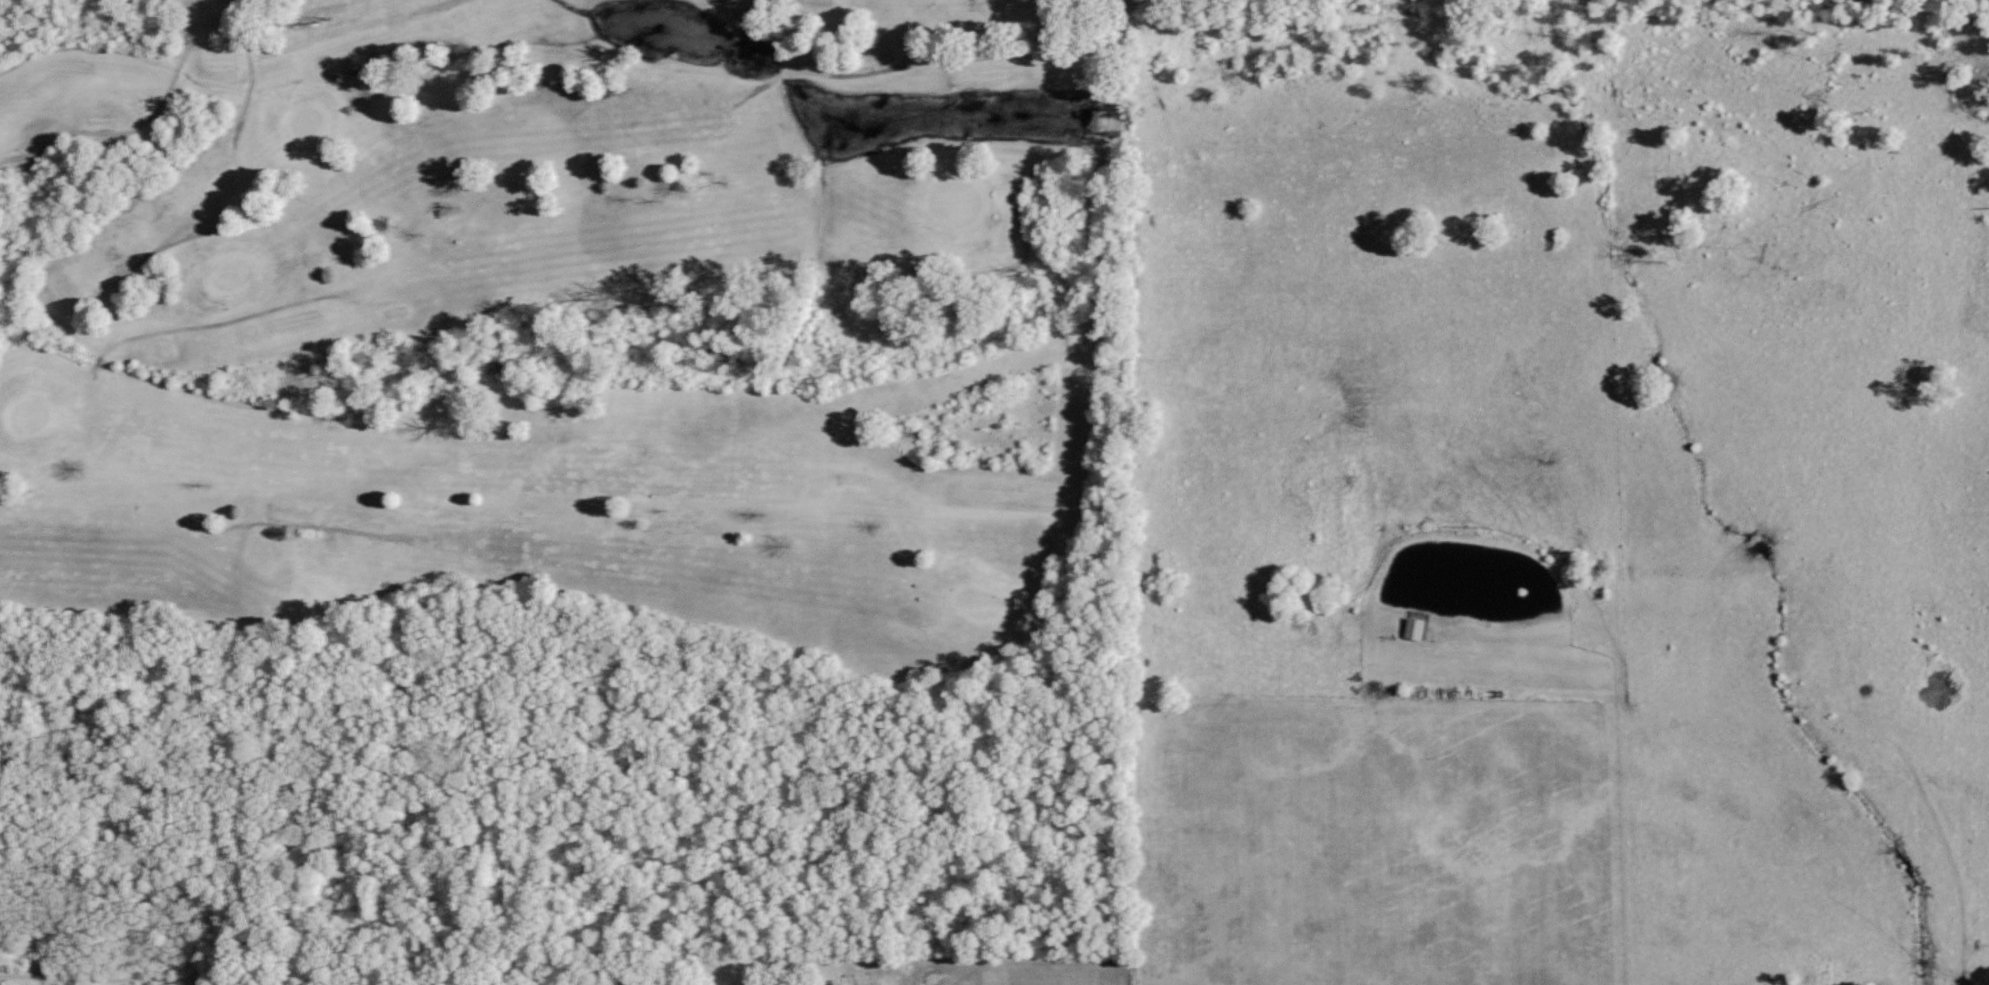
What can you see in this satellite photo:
park: (588, 351)
building: (1412, 629)

